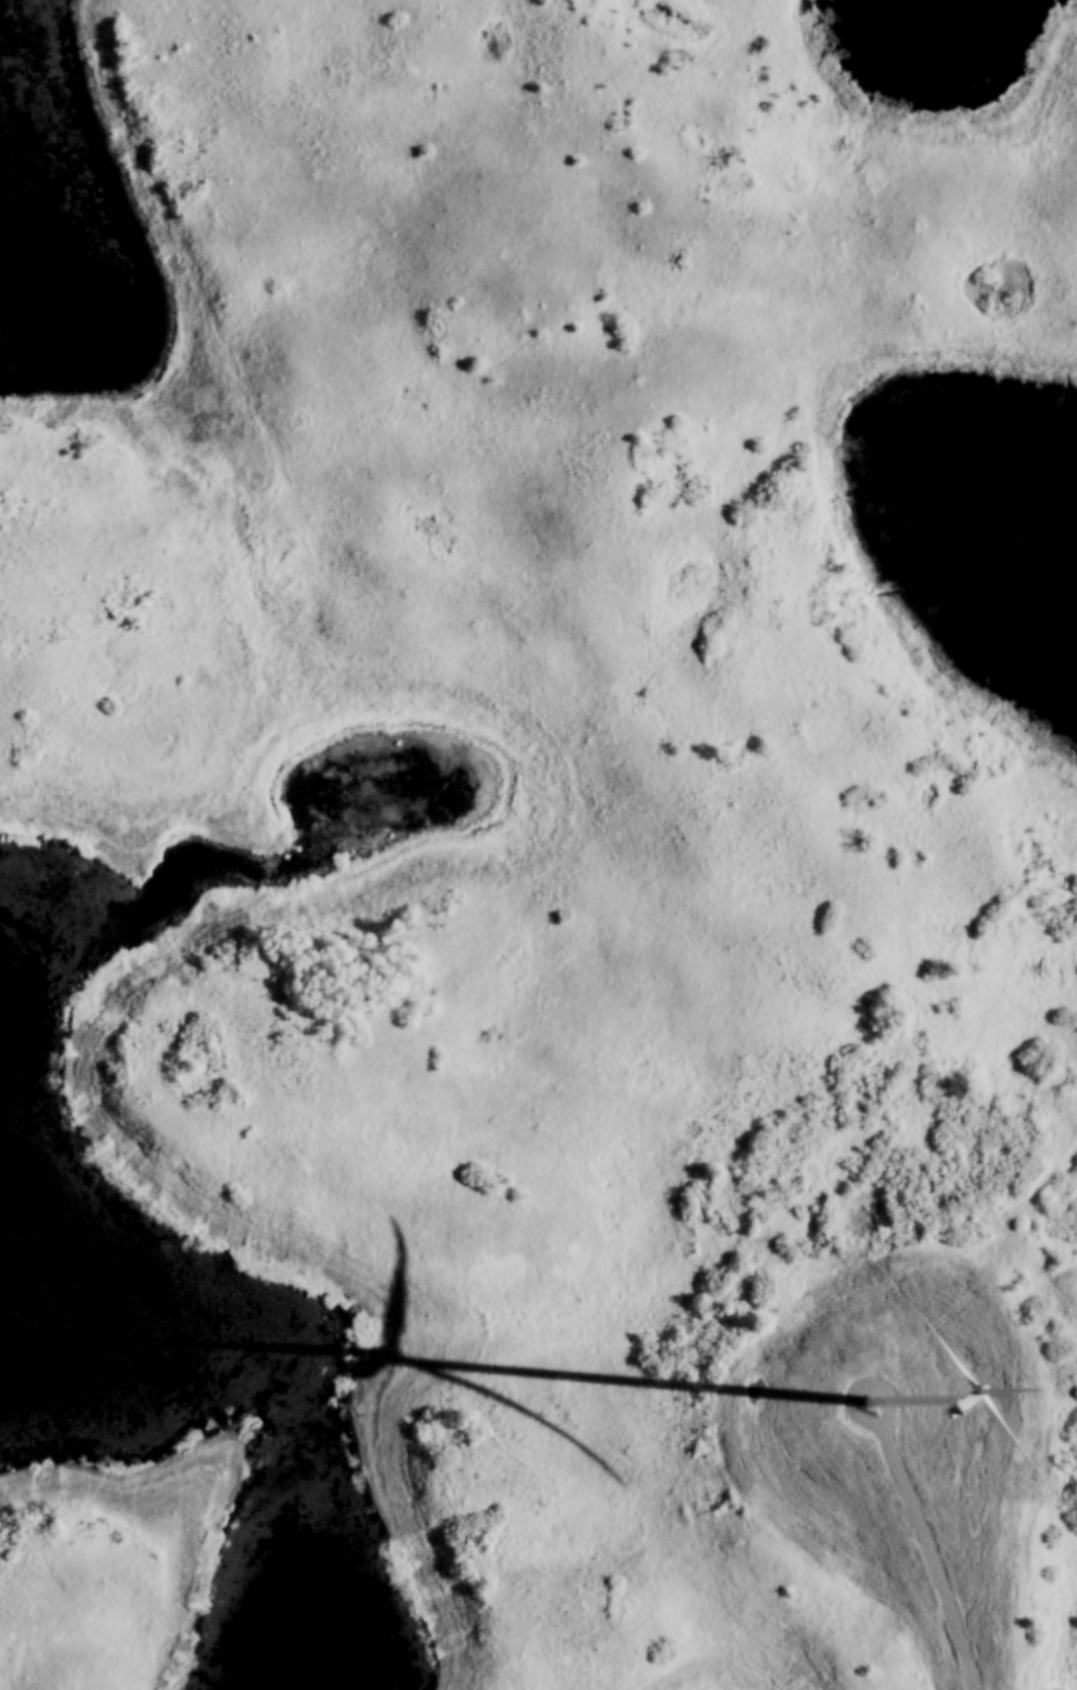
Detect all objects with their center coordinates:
wind turbine: (872, 1400)

